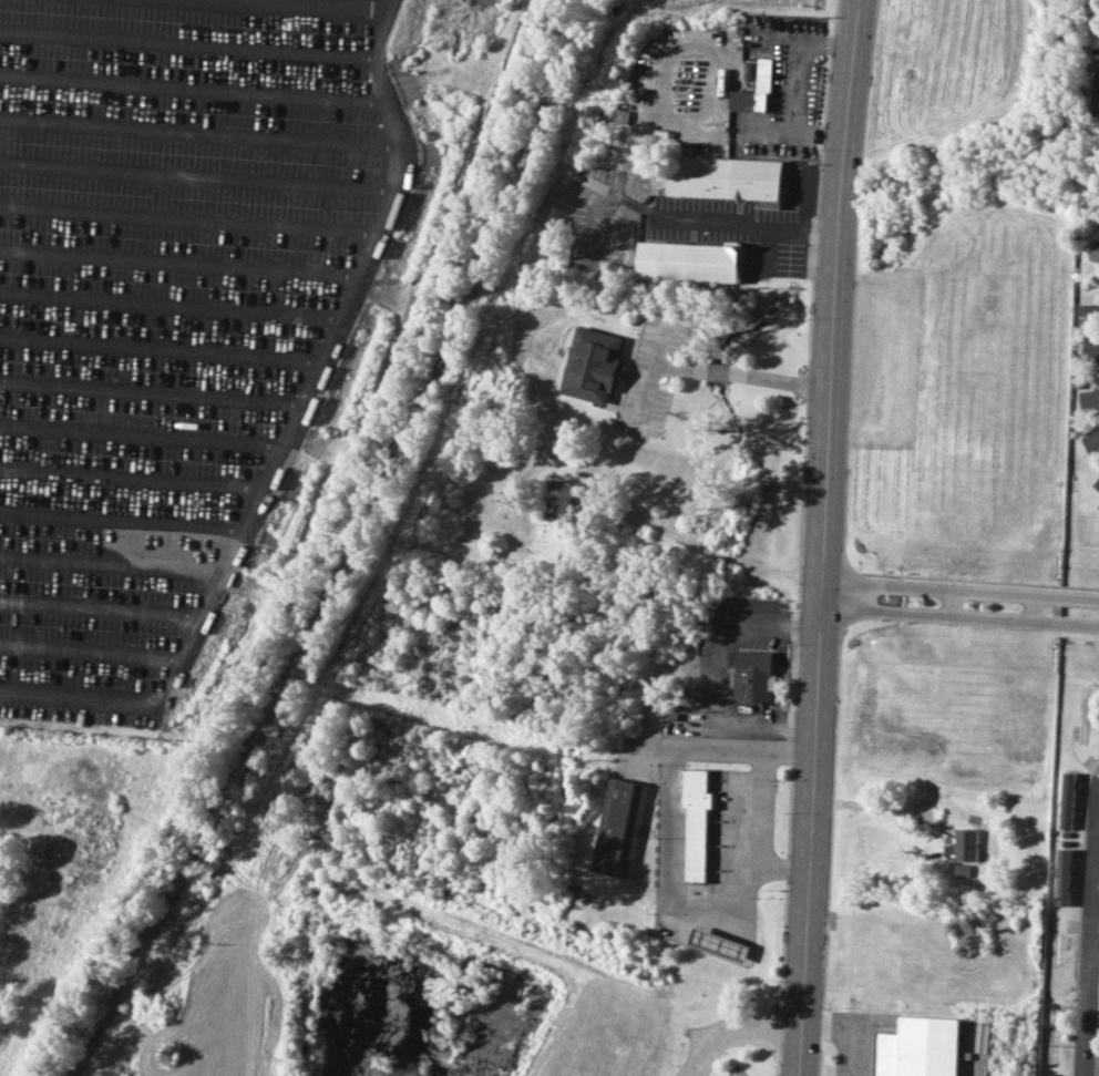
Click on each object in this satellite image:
road: (333, 3)
building: (747, 71)
building: (762, 74)
building: (1096, 88)
river: (1021, 154)
building: (722, 177)
road: (633, 203)
parking lot: (589, 211)
road: (592, 214)
road: (726, 219)
parking lot: (742, 223)
road: (813, 224)
building: (1095, 250)
building: (688, 260)
river: (843, 283)
parking lot: (170, 311)
building: (1089, 311)
building: (1090, 349)
building: (590, 363)
road: (741, 373)
parking lot: (648, 379)
road: (650, 379)
building: (1089, 400)
road: (287, 429)
building: (1091, 441)
building: (1096, 484)
building: (558, 498)
road: (644, 517)
road: (821, 537)
railway: (361, 550)
road: (729, 556)
road: (778, 568)
road: (959, 590)
river: (666, 609)
road: (958, 615)
road: (718, 675)
building: (753, 675)
road: (771, 752)
building: (1068, 800)
road: (4, 803)
road: (753, 807)
building: (696, 819)
building: (618, 827)
building: (965, 843)
road: (762, 864)
building: (962, 870)
building: (1064, 877)
road: (1095, 922)
road: (1089, 932)
building: (718, 944)
building: (1098, 1021)
road: (846, 1031)
road: (737, 1034)
building: (914, 1047)
road: (965, 1055)

